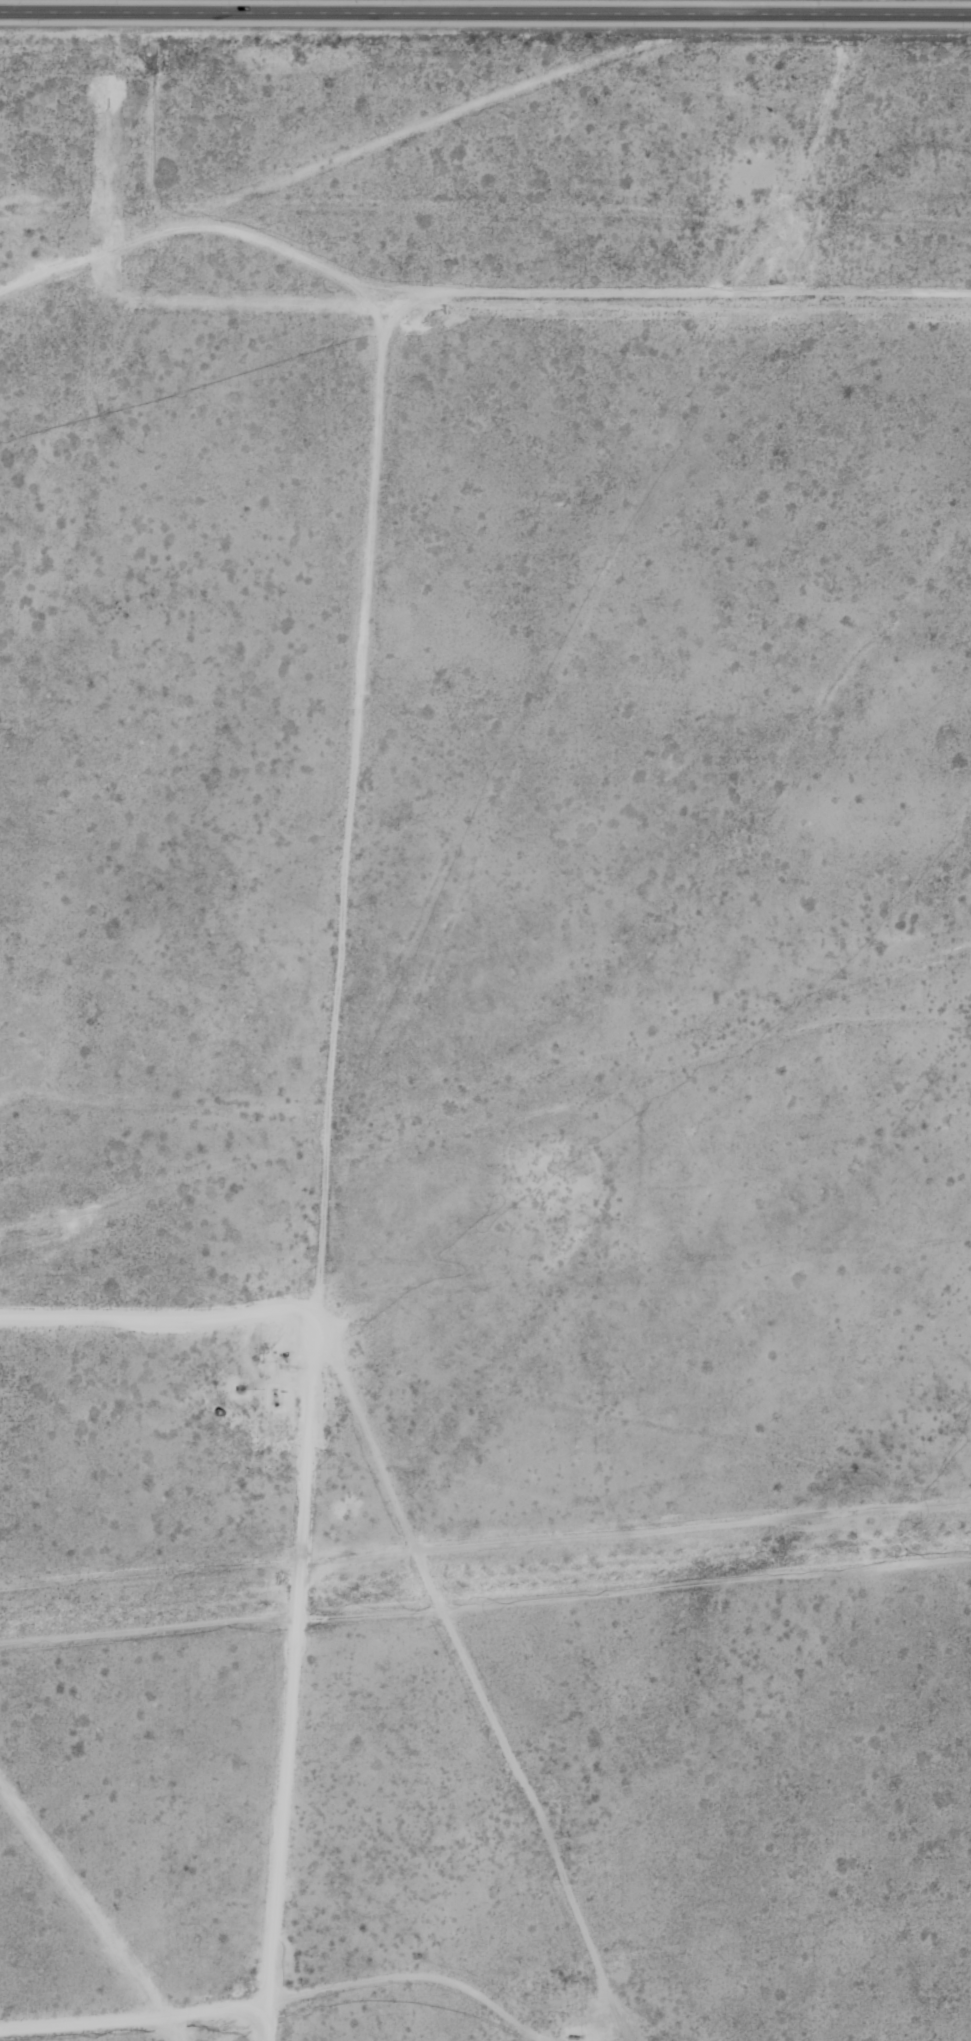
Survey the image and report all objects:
road: (485, 16)
road: (458, 328)
road: (214, 825)
road: (160, 1681)
road: (334, 1902)

